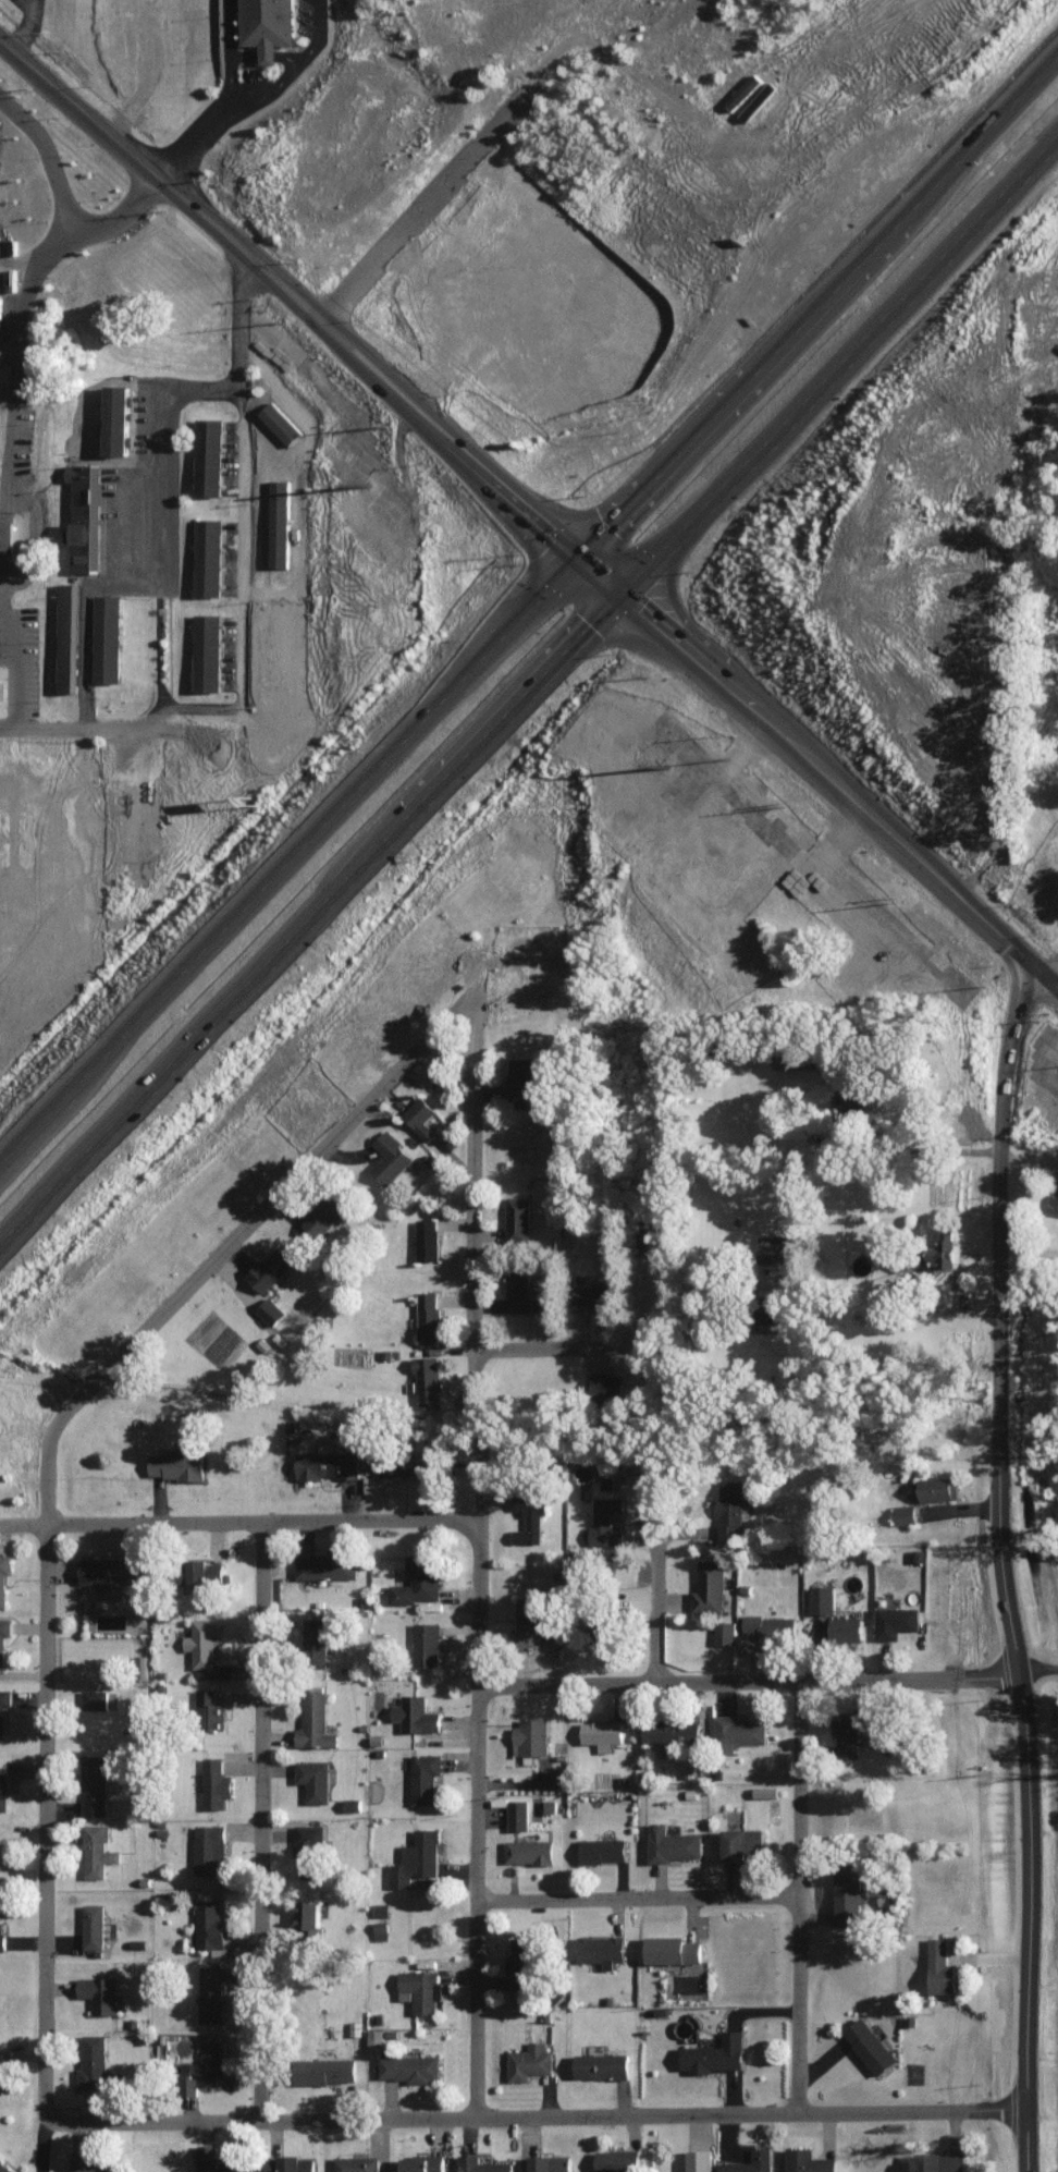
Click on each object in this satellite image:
parking lot: (318, 13)
building: (278, 22)
road: (34, 27)
road: (272, 45)
parking lot: (264, 70)
road: (261, 86)
building: (759, 99)
road: (195, 133)
road: (46, 155)
road: (159, 178)
road: (418, 205)
road: (160, 217)
building: (478, 223)
road: (761, 229)
road: (193, 246)
road: (815, 256)
building: (593, 290)
road: (164, 300)
road: (834, 309)
road: (19, 314)
road: (862, 366)
road: (336, 368)
road: (393, 373)
road: (379, 385)
road: (291, 395)
building: (119, 418)
building: (280, 422)
road: (445, 432)
road: (510, 446)
road: (264, 451)
building: (209, 455)
road: (241, 477)
road: (463, 495)
road: (435, 510)
building: (86, 515)
building: (279, 522)
road: (551, 533)
building: (8, 534)
road: (32, 536)
road: (295, 548)
road: (580, 548)
road: (160, 557)
building: (208, 557)
road: (566, 559)
road: (587, 568)
road: (555, 570)
road: (16, 579)
road: (689, 612)
building: (71, 636)
road: (30, 638)
building: (107, 638)
parking lot: (30, 648)
building: (208, 651)
road: (635, 663)
road: (694, 672)
helipad: (5, 682)
road: (616, 685)
road: (201, 704)
road: (85, 725)
road: (231, 786)
building: (619, 796)
road: (873, 812)
road: (835, 823)
road: (861, 826)
road: (263, 834)
building: (728, 854)
road: (282, 888)
building: (40, 907)
building: (115, 920)
road: (318, 941)
road: (1037, 973)
road: (1038, 1018)
road: (1007, 1058)
building: (791, 1059)
road: (1021, 1071)
building: (517, 1077)
building: (852, 1098)
building: (420, 1115)
road: (910, 1147)
building: (390, 1156)
road: (1028, 1159)
building: (1054, 1199)
road: (262, 1208)
building: (327, 1212)
building: (518, 1217)
building: (427, 1237)
building: (948, 1244)
building: (772, 1247)
road: (1028, 1249)
building: (906, 1258)
building: (270, 1267)
building: (519, 1288)
building: (595, 1294)
building: (963, 1297)
building: (537, 1303)
road: (703, 1303)
building: (271, 1309)
building: (429, 1313)
road: (565, 1350)
building: (432, 1383)
building: (608, 1386)
building: (329, 1461)
building: (409, 1463)
building: (176, 1464)
building: (605, 1477)
building: (938, 1486)
road: (960, 1508)
building: (730, 1510)
building: (530, 1512)
building: (906, 1512)
building: (605, 1518)
road: (243, 1524)
road: (485, 1548)
building: (325, 1562)
building: (109, 1569)
building: (207, 1572)
building: (4, 1575)
building: (420, 1578)
building: (710, 1585)
road: (650, 1591)
building: (823, 1598)
building: (895, 1620)
building: (528, 1621)
building: (772, 1625)
building: (849, 1627)
building: (725, 1631)
building: (4, 1636)
building: (316, 1637)
building: (200, 1639)
building: (428, 1643)
road: (1013, 1643)
road: (1037, 1662)
road: (753, 1679)
building: (94, 1696)
building: (4, 1708)
building: (211, 1708)
building: (416, 1713)
building: (315, 1721)
building: (672, 1730)
building: (739, 1730)
building: (851, 1730)
building: (603, 1732)
building: (531, 1735)
building: (425, 1776)
building: (315, 1778)
road: (41, 1779)
building: (216, 1782)
building: (95, 1784)
building: (3, 1785)
building: (766, 1791)
building: (352, 1803)
building: (518, 1814)
road: (267, 1820)
building: (743, 1842)
building: (672, 1843)
building: (209, 1846)
building: (309, 1848)
building: (603, 1848)
building: (98, 1850)
building: (529, 1850)
building: (418, 1858)
road: (648, 1889)
building: (849, 1893)
road: (808, 1894)
building: (381, 1908)
building: (309, 1914)
building: (211, 1924)
building: (94, 1925)
building: (382, 1929)
building: (2, 1935)
building: (602, 1948)
building: (674, 1948)
road: (989, 1957)
building: (526, 1962)
building: (942, 1966)
building: (421, 1988)
building: (100, 1991)
building: (211, 1993)
building: (377, 2035)
building: (870, 2045)
building: (715, 2053)
building: (94, 2060)
building: (530, 2060)
building: (603, 2064)
building: (206, 2065)
building: (409, 2066)
building: (324, 2069)
building: (3, 2074)
road: (539, 2114)
building: (619, 2160)
building: (701, 2160)
building: (810, 2160)
building: (216, 2161)
building: (752, 2161)
building: (423, 2162)
building: (550, 2162)
building: (940, 2162)
building: (291, 2163)
building: (357, 2163)
building: (483, 2163)
building: (4, 2167)
building: (94, 2167)

